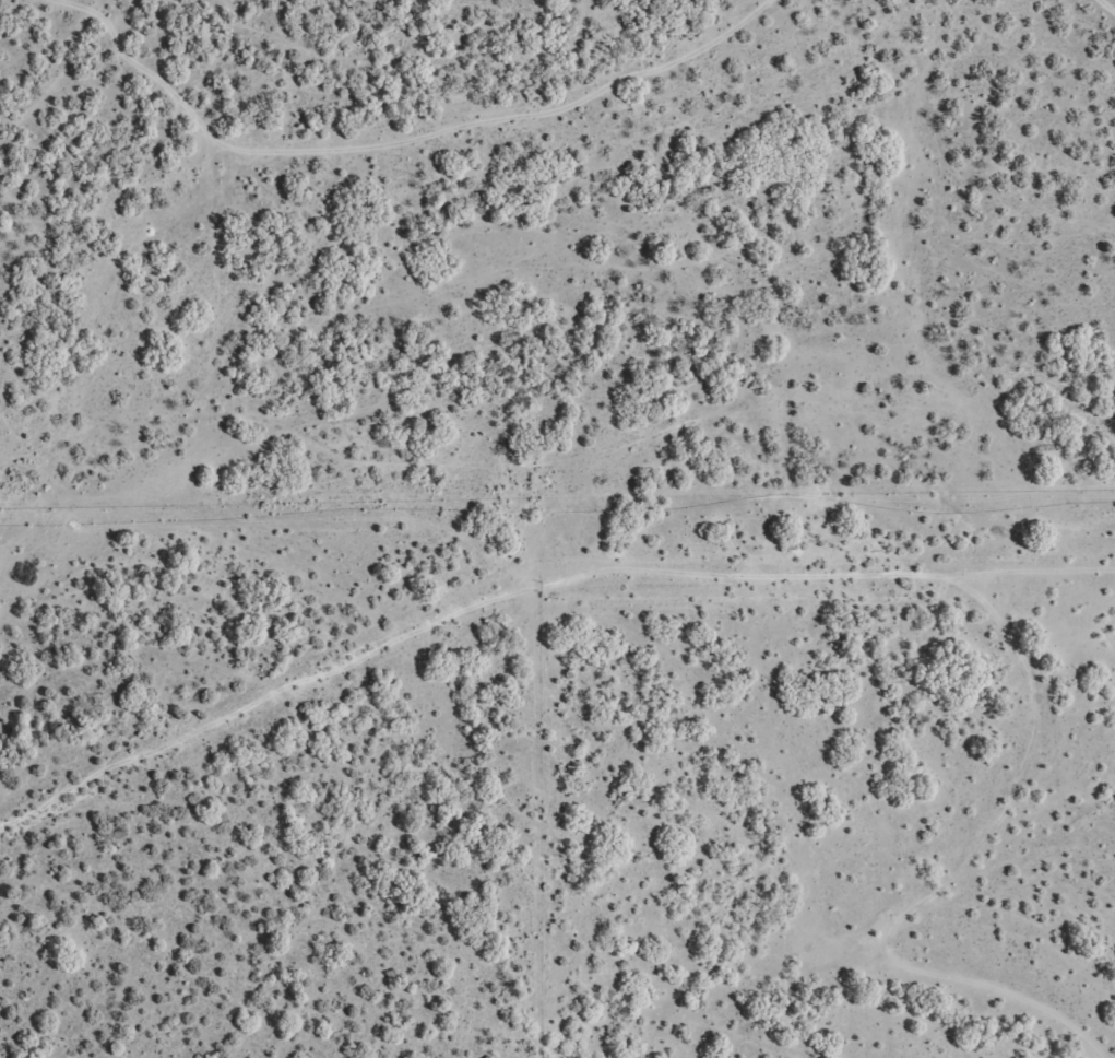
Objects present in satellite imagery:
road: (527, 568)
road: (930, 848)

